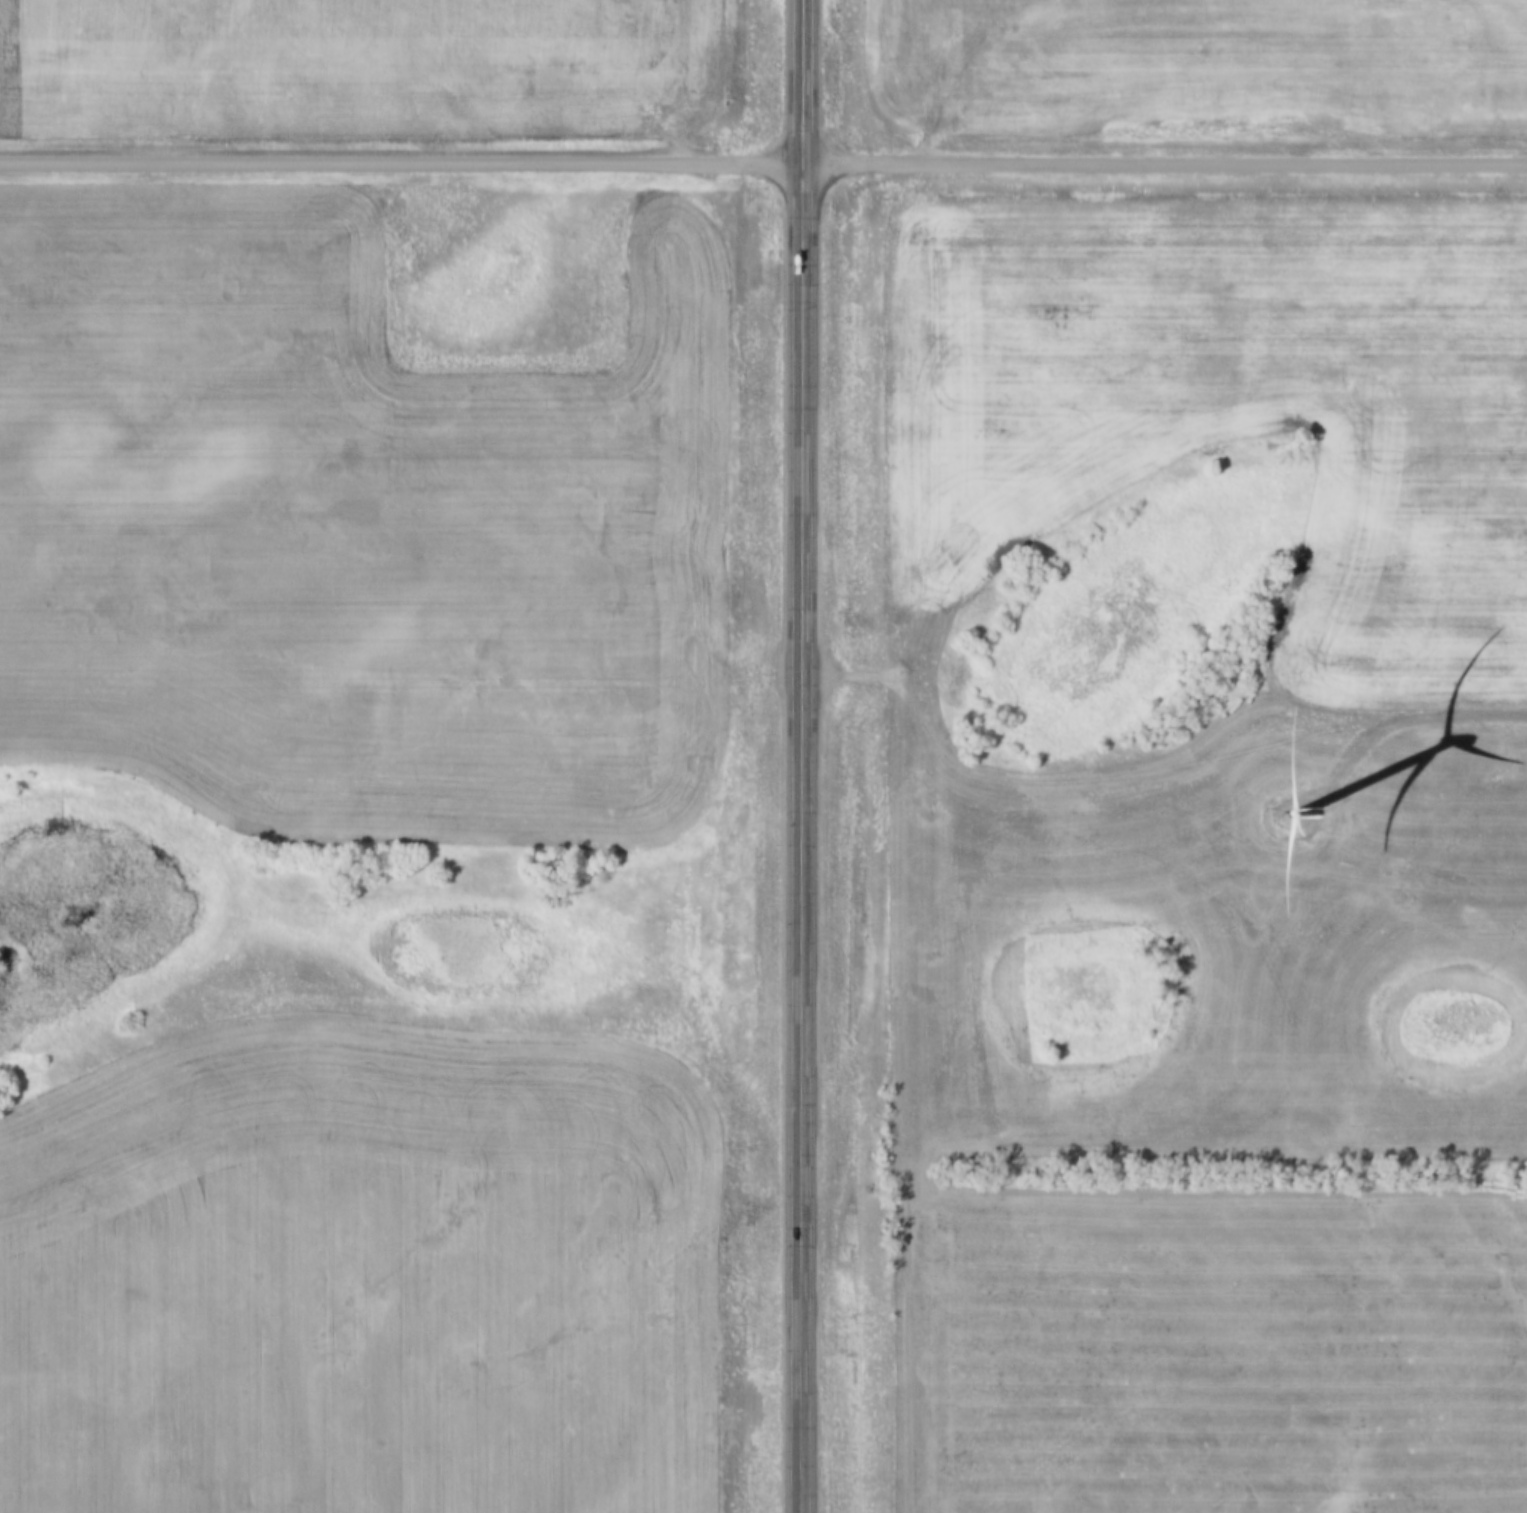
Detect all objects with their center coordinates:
road: (804, 79)
road: (763, 157)
wind turbine: (1296, 813)
road: (801, 835)

